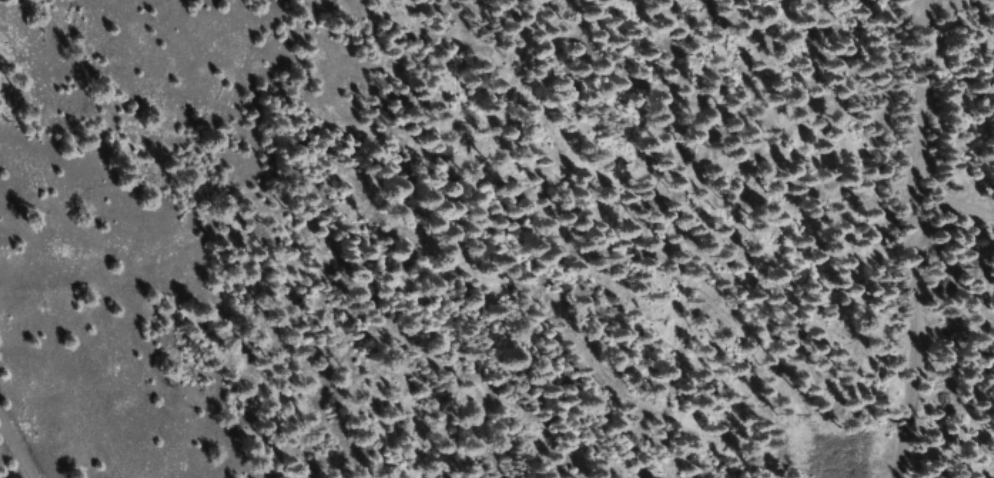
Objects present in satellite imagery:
road: (954, 241)
road: (976, 353)
road: (8, 463)
road: (290, 465)

